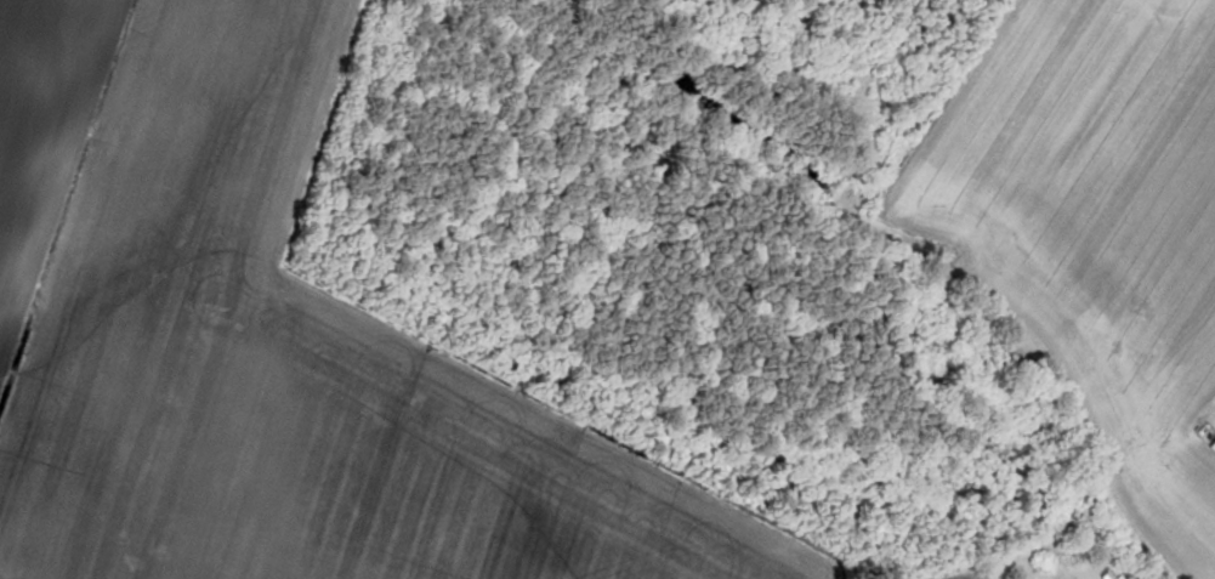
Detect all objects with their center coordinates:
building: (884, 101)
building: (1000, 286)
building: (1091, 303)
building: (1211, 445)

